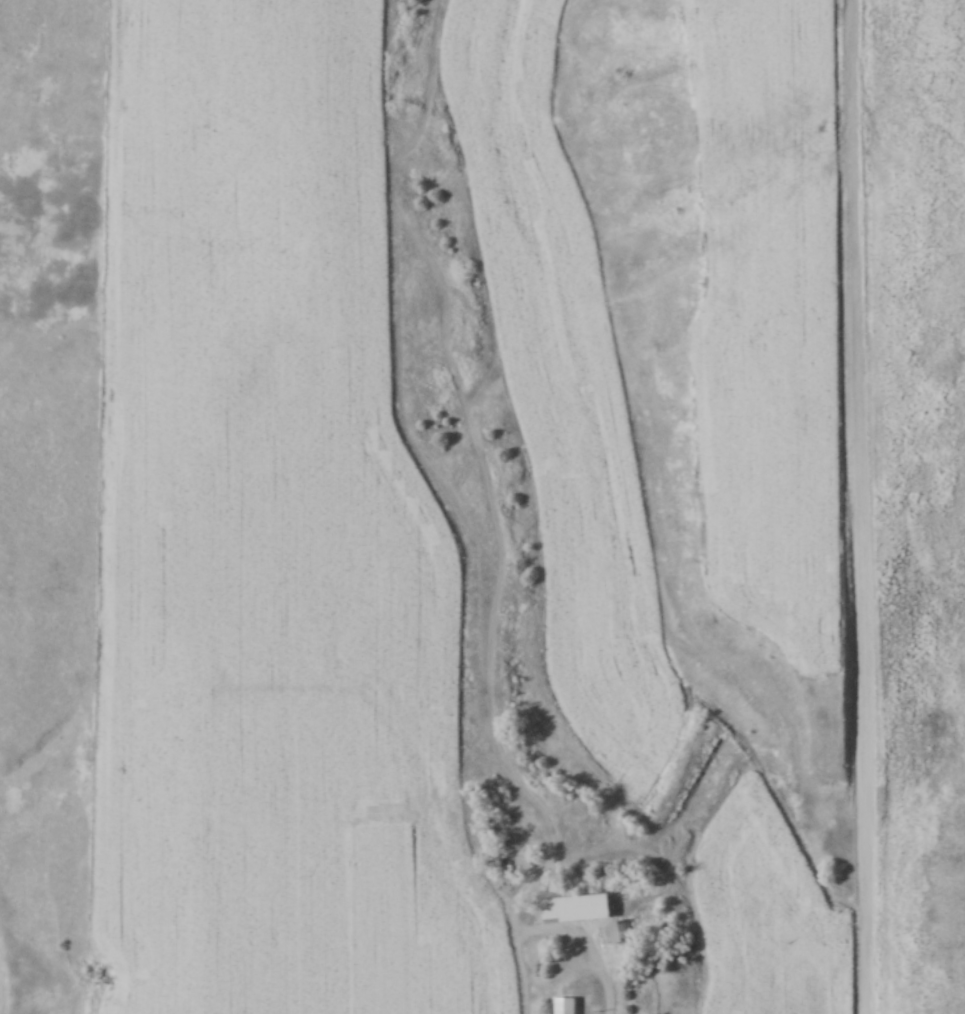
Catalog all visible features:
road: (862, 506)
building: (577, 910)
building: (620, 934)

